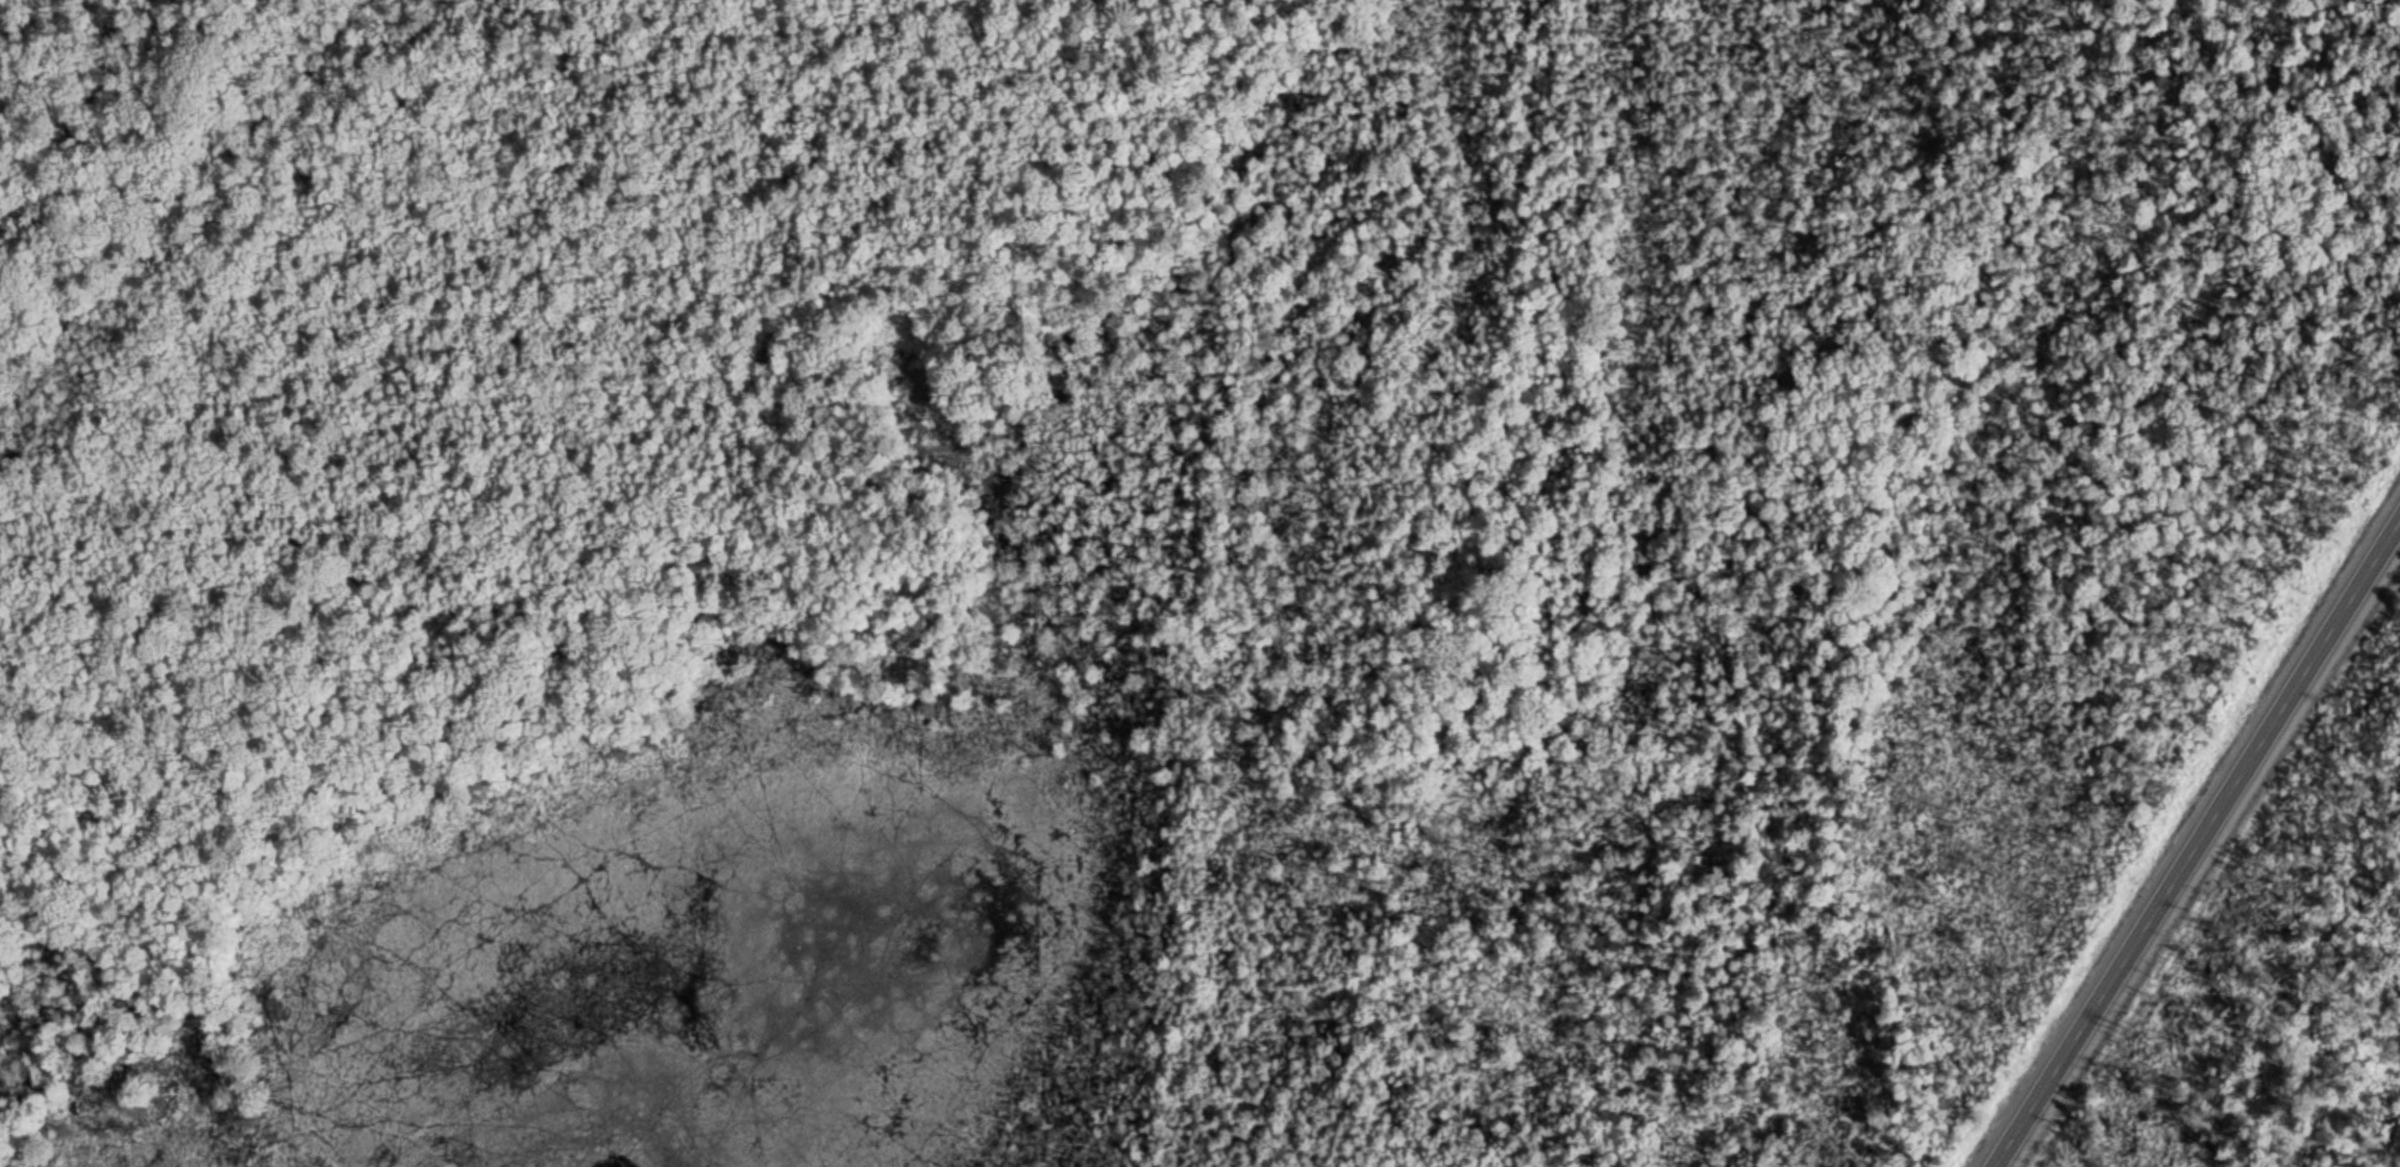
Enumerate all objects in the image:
road: (2202, 851)

